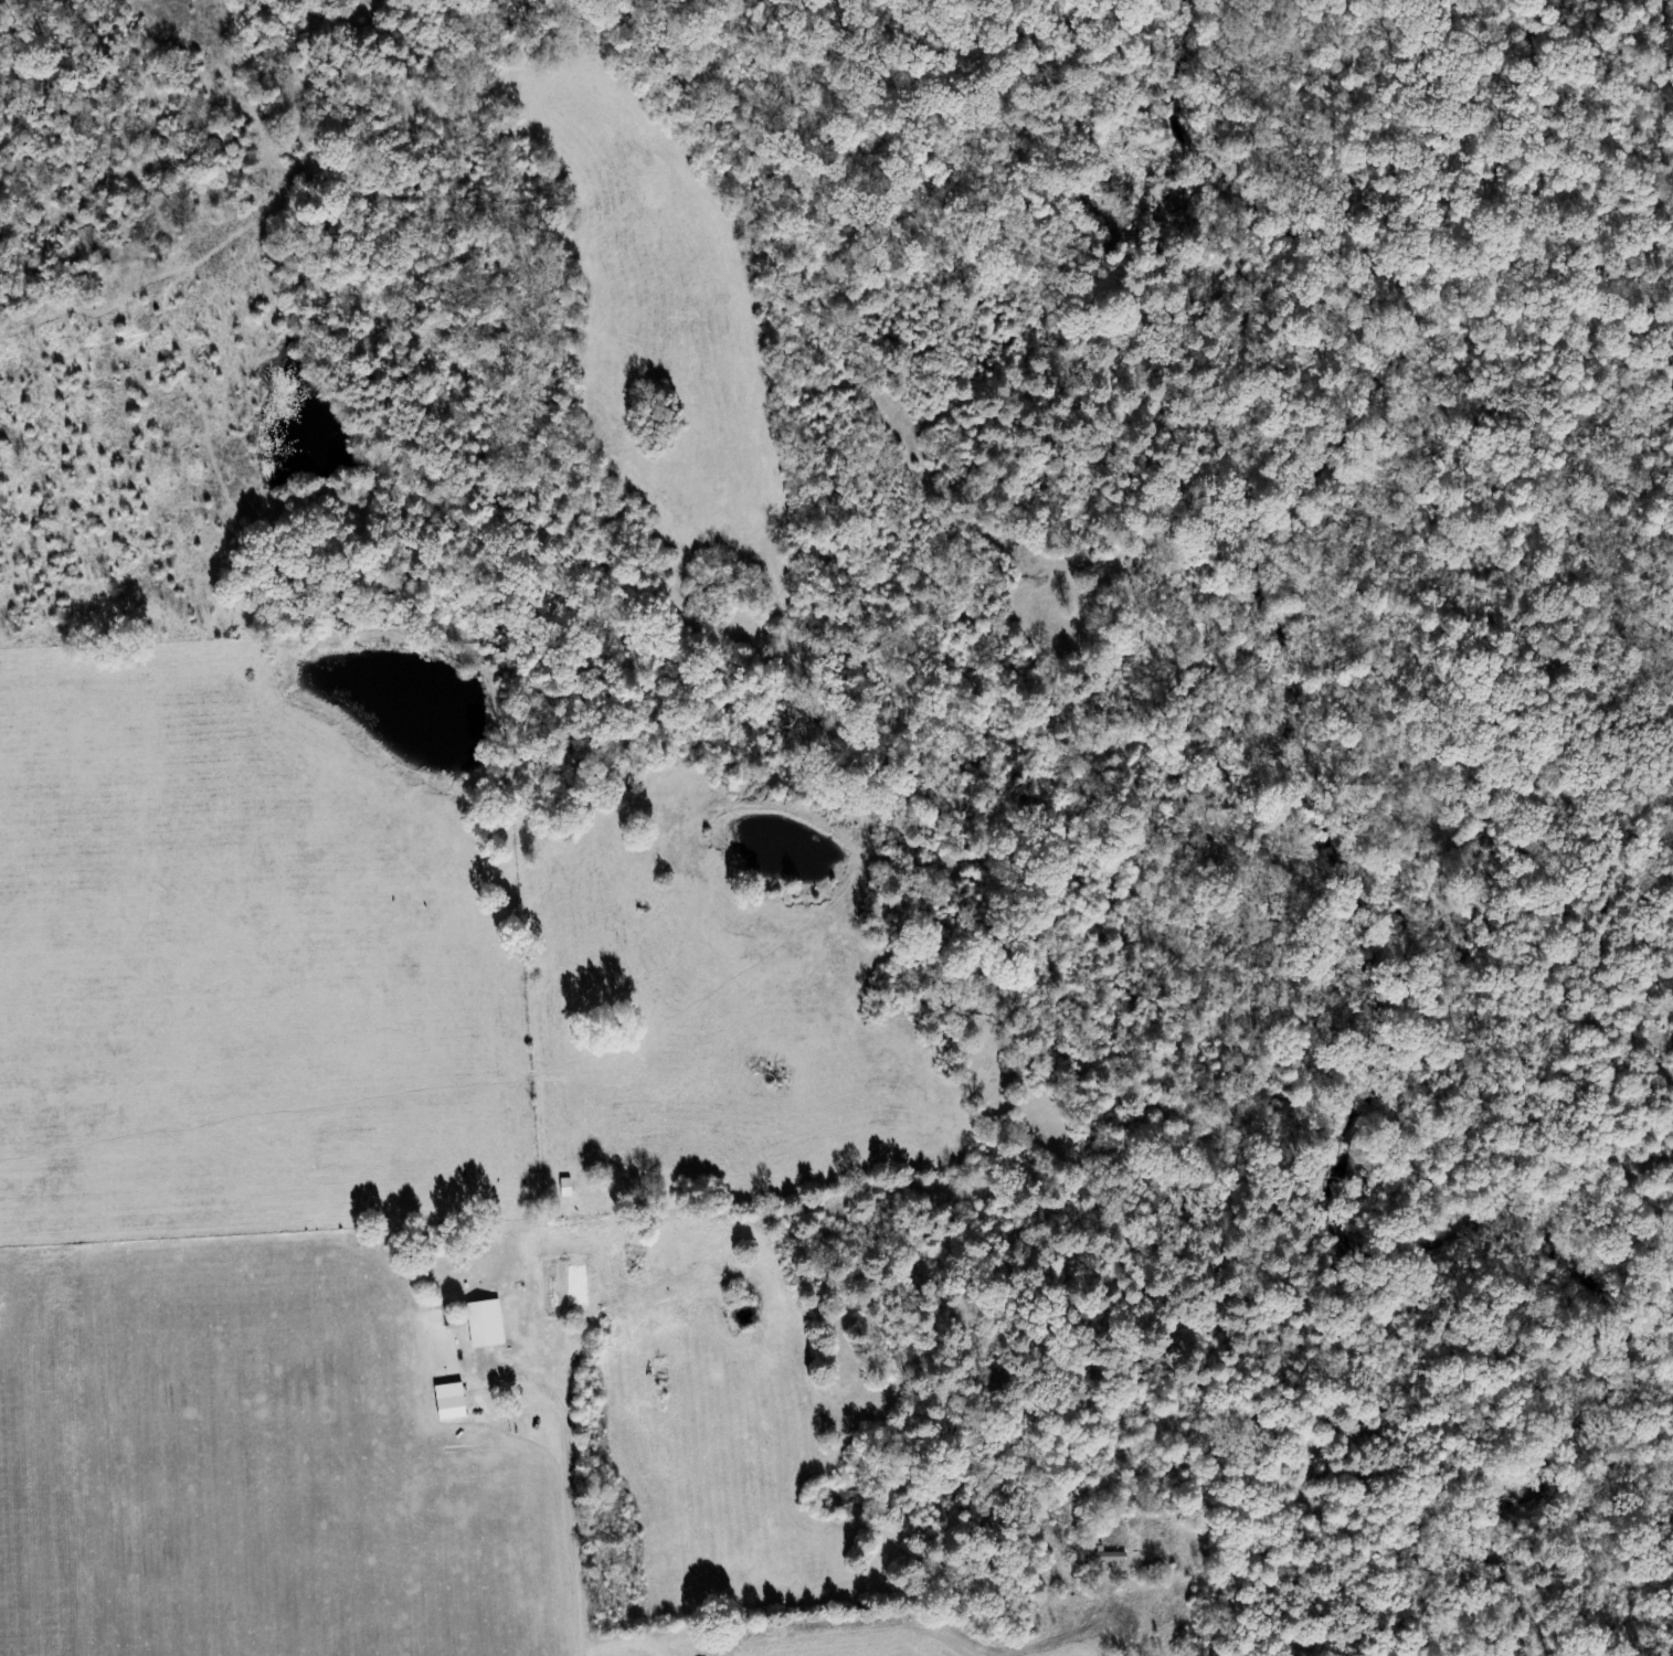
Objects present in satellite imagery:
building: (562, 1189)
building: (548, 1272)
building: (481, 1326)
road: (565, 1519)
building: (1104, 1559)
road: (820, 1628)
road: (1060, 1637)

